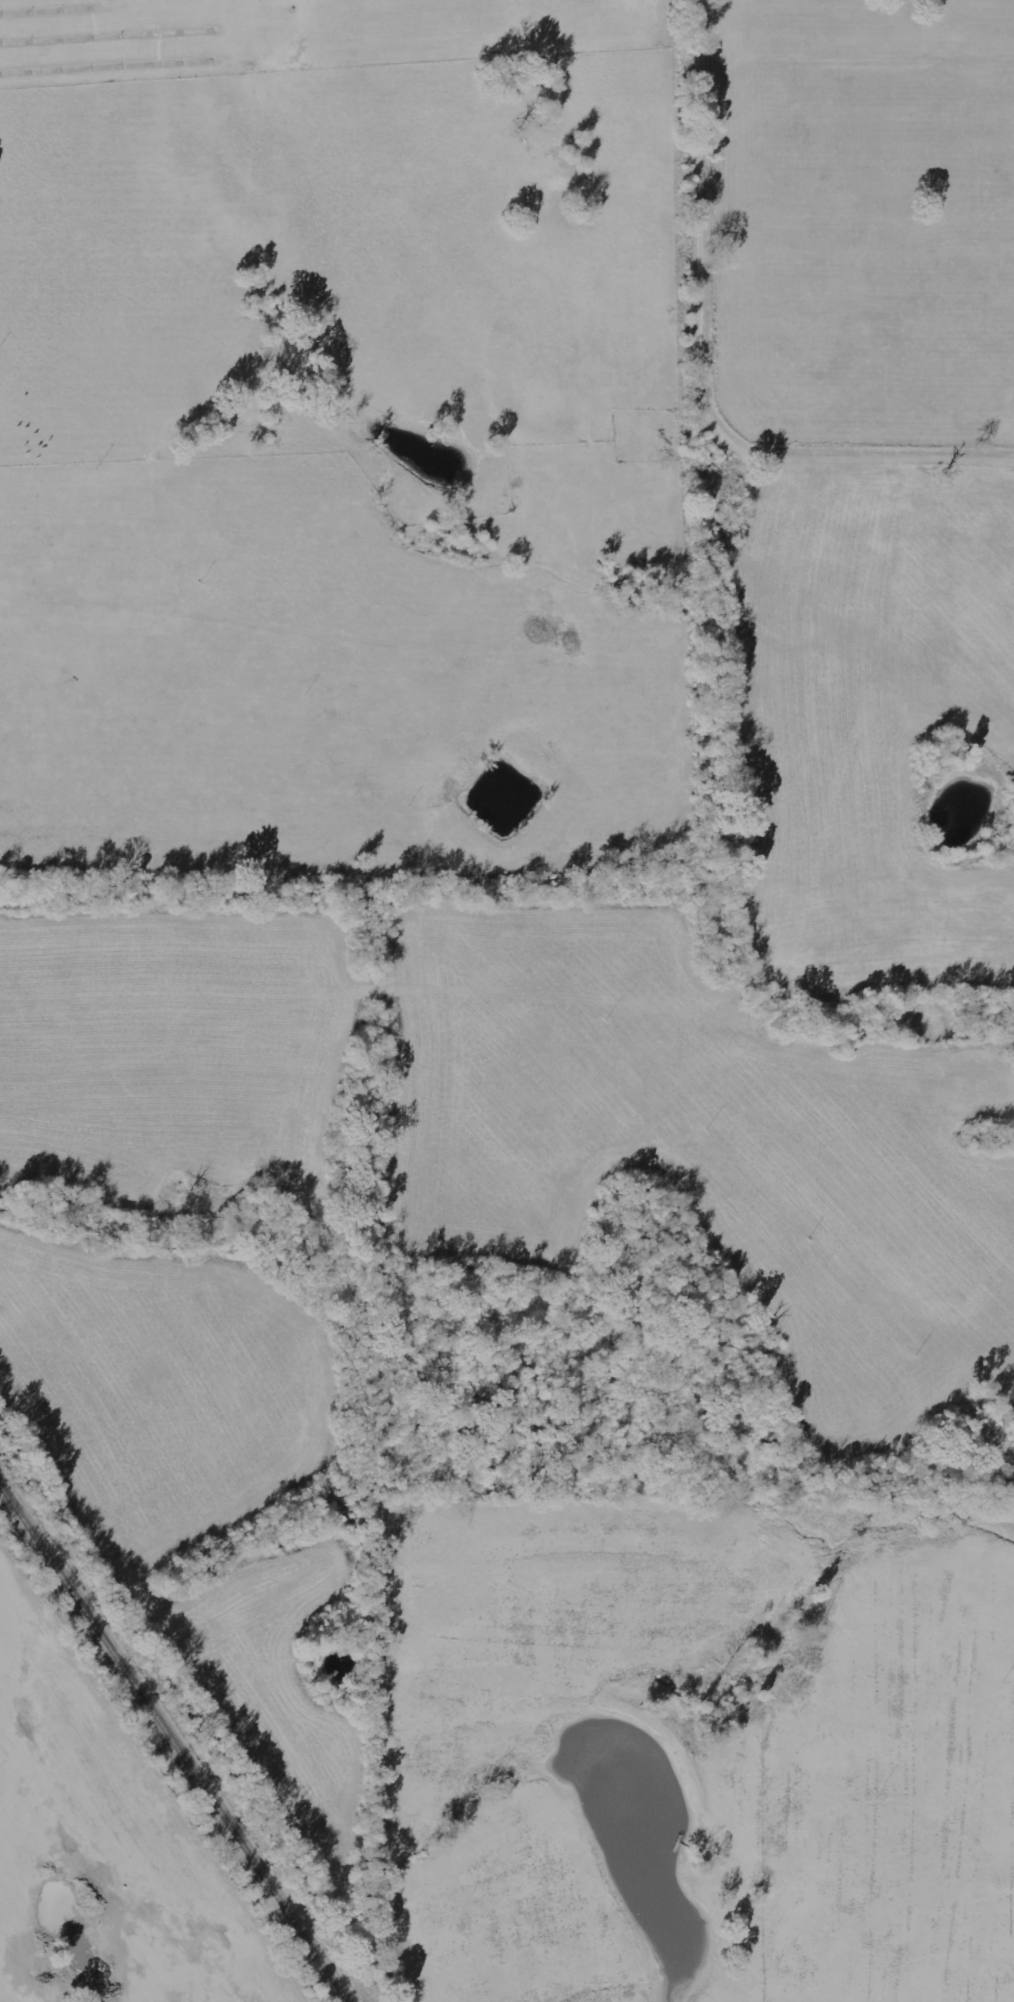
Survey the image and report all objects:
road: (708, 364)
railway: (172, 1747)

